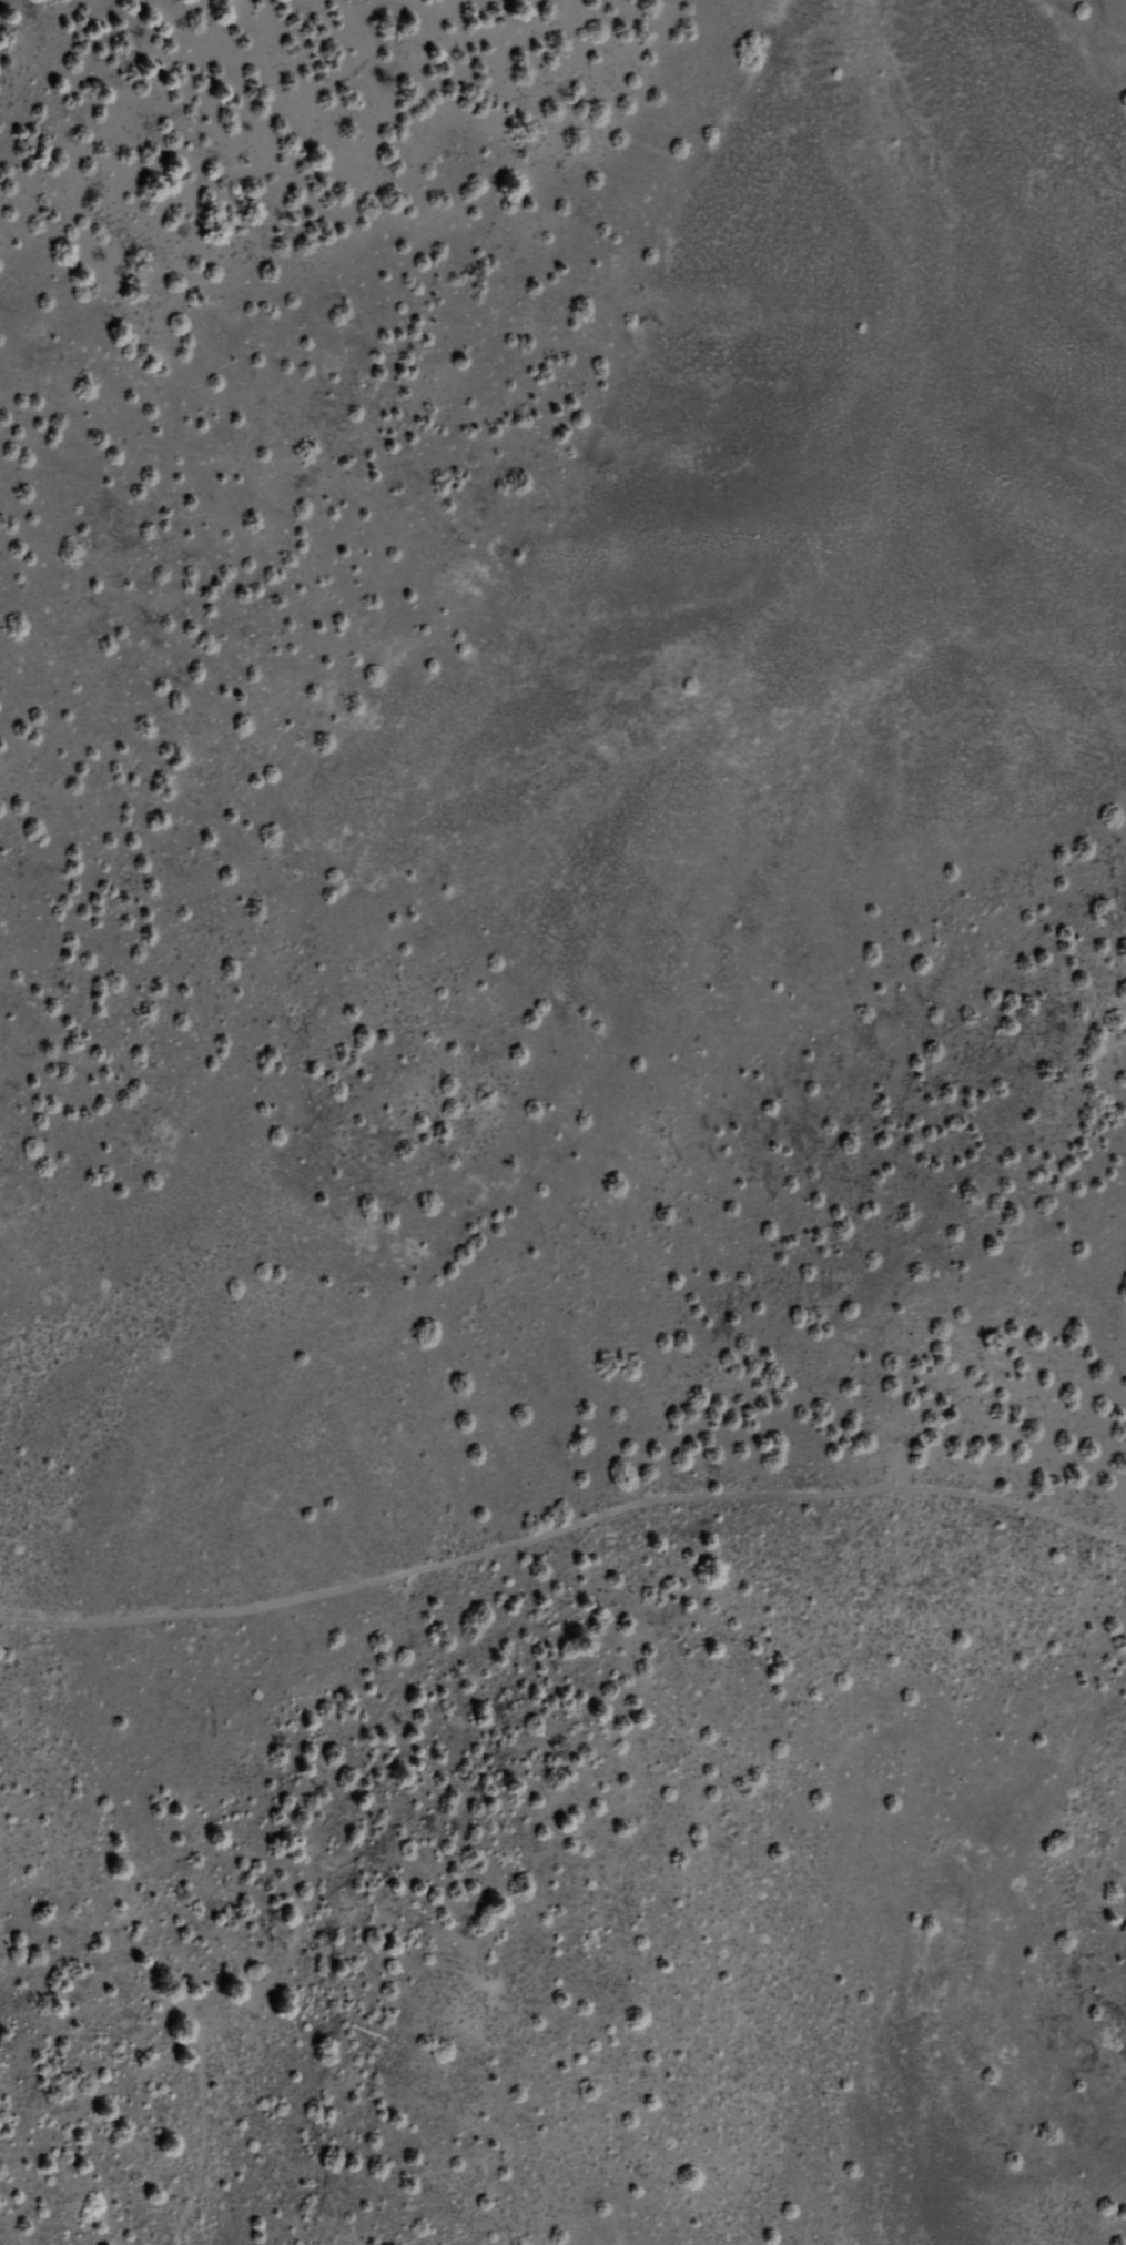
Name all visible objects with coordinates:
road: (562, 1527)

